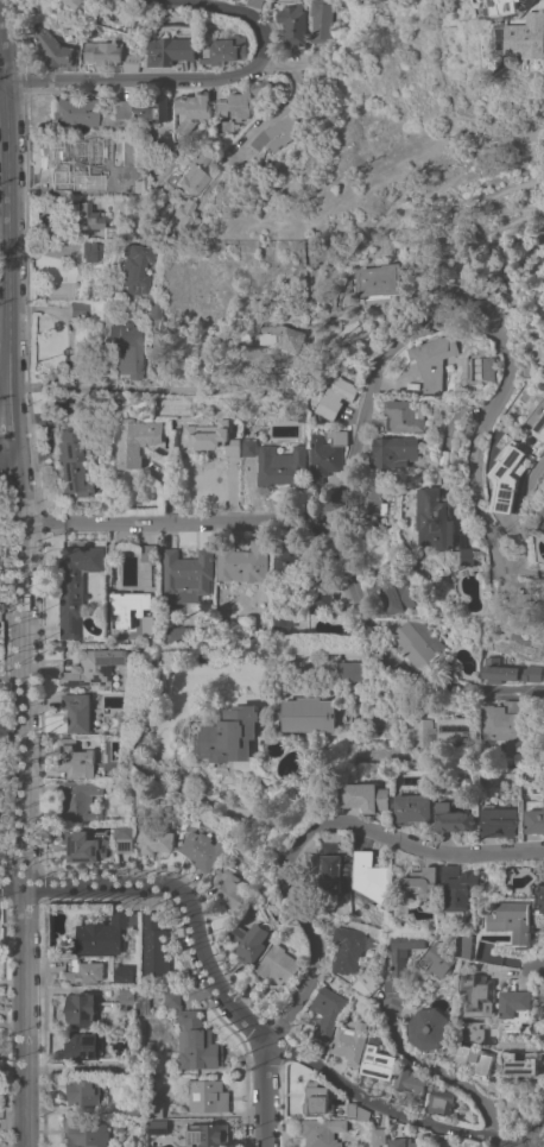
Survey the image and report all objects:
building: (80, 2)
building: (253, 2)
building: (502, 6)
building: (53, 15)
building: (320, 20)
building: (291, 25)
building: (526, 37)
building: (56, 49)
building: (170, 50)
building: (222, 50)
building: (102, 52)
building: (131, 62)
road: (290, 62)
road: (1, 78)
road: (205, 78)
building: (240, 100)
building: (151, 107)
building: (118, 108)
building: (75, 112)
building: (192, 112)
road: (264, 122)
building: (227, 126)
building: (277, 133)
building: (82, 162)
building: (190, 175)
building: (137, 181)
building: (87, 216)
building: (182, 219)
road: (6, 247)
building: (89, 251)
building: (135, 267)
building: (378, 281)
building: (489, 295)
building: (78, 308)
building: (154, 314)
road: (69, 333)
building: (283, 338)
building: (127, 348)
building: (431, 360)
building: (487, 368)
building: (285, 379)
road: (369, 382)
road: (120, 389)
road: (5, 393)
building: (335, 397)
park: (170, 407)
building: (404, 415)
building: (301, 417)
building: (536, 428)
building: (210, 437)
building: (133, 440)
road: (5, 445)
building: (248, 446)
building: (394, 452)
building: (325, 454)
building: (71, 461)
building: (280, 466)
building: (508, 474)
building: (368, 497)
road: (518, 511)
building: (435, 519)
building: (543, 525)
building: (110, 547)
building: (460, 556)
building: (287, 559)
building: (242, 562)
building: (186, 574)
building: (75, 584)
building: (321, 590)
building: (391, 592)
building: (137, 597)
building: (537, 597)
building: (283, 615)
building: (314, 624)
building: (178, 636)
building: (415, 642)
road: (379, 650)
building: (302, 662)
building: (94, 667)
building: (349, 672)
building: (507, 672)
building: (449, 676)
building: (76, 711)
building: (308, 714)
building: (501, 725)
building: (454, 733)
building: (423, 735)
building: (229, 738)
building: (76, 760)
road: (21, 793)
building: (365, 796)
building: (80, 801)
building: (139, 801)
building: (411, 809)
building: (534, 820)
building: (454, 821)
building: (499, 821)
road: (311, 826)
building: (122, 837)
building: (156, 840)
building: (82, 846)
building: (201, 850)
building: (336, 872)
building: (369, 876)
building: (458, 886)
building: (418, 887)
building: (227, 888)
building: (539, 896)
building: (513, 921)
building: (103, 934)
building: (247, 941)
building: (154, 945)
building: (470, 945)
building: (347, 950)
building: (405, 950)
building: (439, 959)
building: (277, 964)
road: (539, 966)
building: (83, 971)
building: (124, 973)
building: (137, 981)
building: (366, 984)
building: (137, 988)
building: (542, 989)
building: (479, 991)
building: (126, 994)
building: (141, 1002)
building: (81, 1008)
building: (517, 1009)
building: (325, 1011)
road: (239, 1014)
building: (429, 1028)
building: (472, 1031)
building: (194, 1036)
building: (349, 1041)
building: (148, 1045)
building: (78, 1048)
building: (474, 1058)
building: (378, 1059)
building: (125, 1065)
building: (517, 1066)
road: (436, 1073)
building: (410, 1083)
building: (82, 1090)
building: (384, 1090)
road: (266, 1091)
building: (207, 1096)
building: (315, 1098)
building: (439, 1101)
building: (133, 1107)
building: (153, 1108)
building: (347, 1110)
building: (361, 1113)
building: (157, 1127)
road: (526, 1129)
building: (84, 1133)
building: (321, 1133)
building: (207, 1134)
building: (378, 1136)
building: (403, 1142)
building: (461, 1145)
building: (126, 1146)
building: (374, 1146)
road: (507, 1146)

